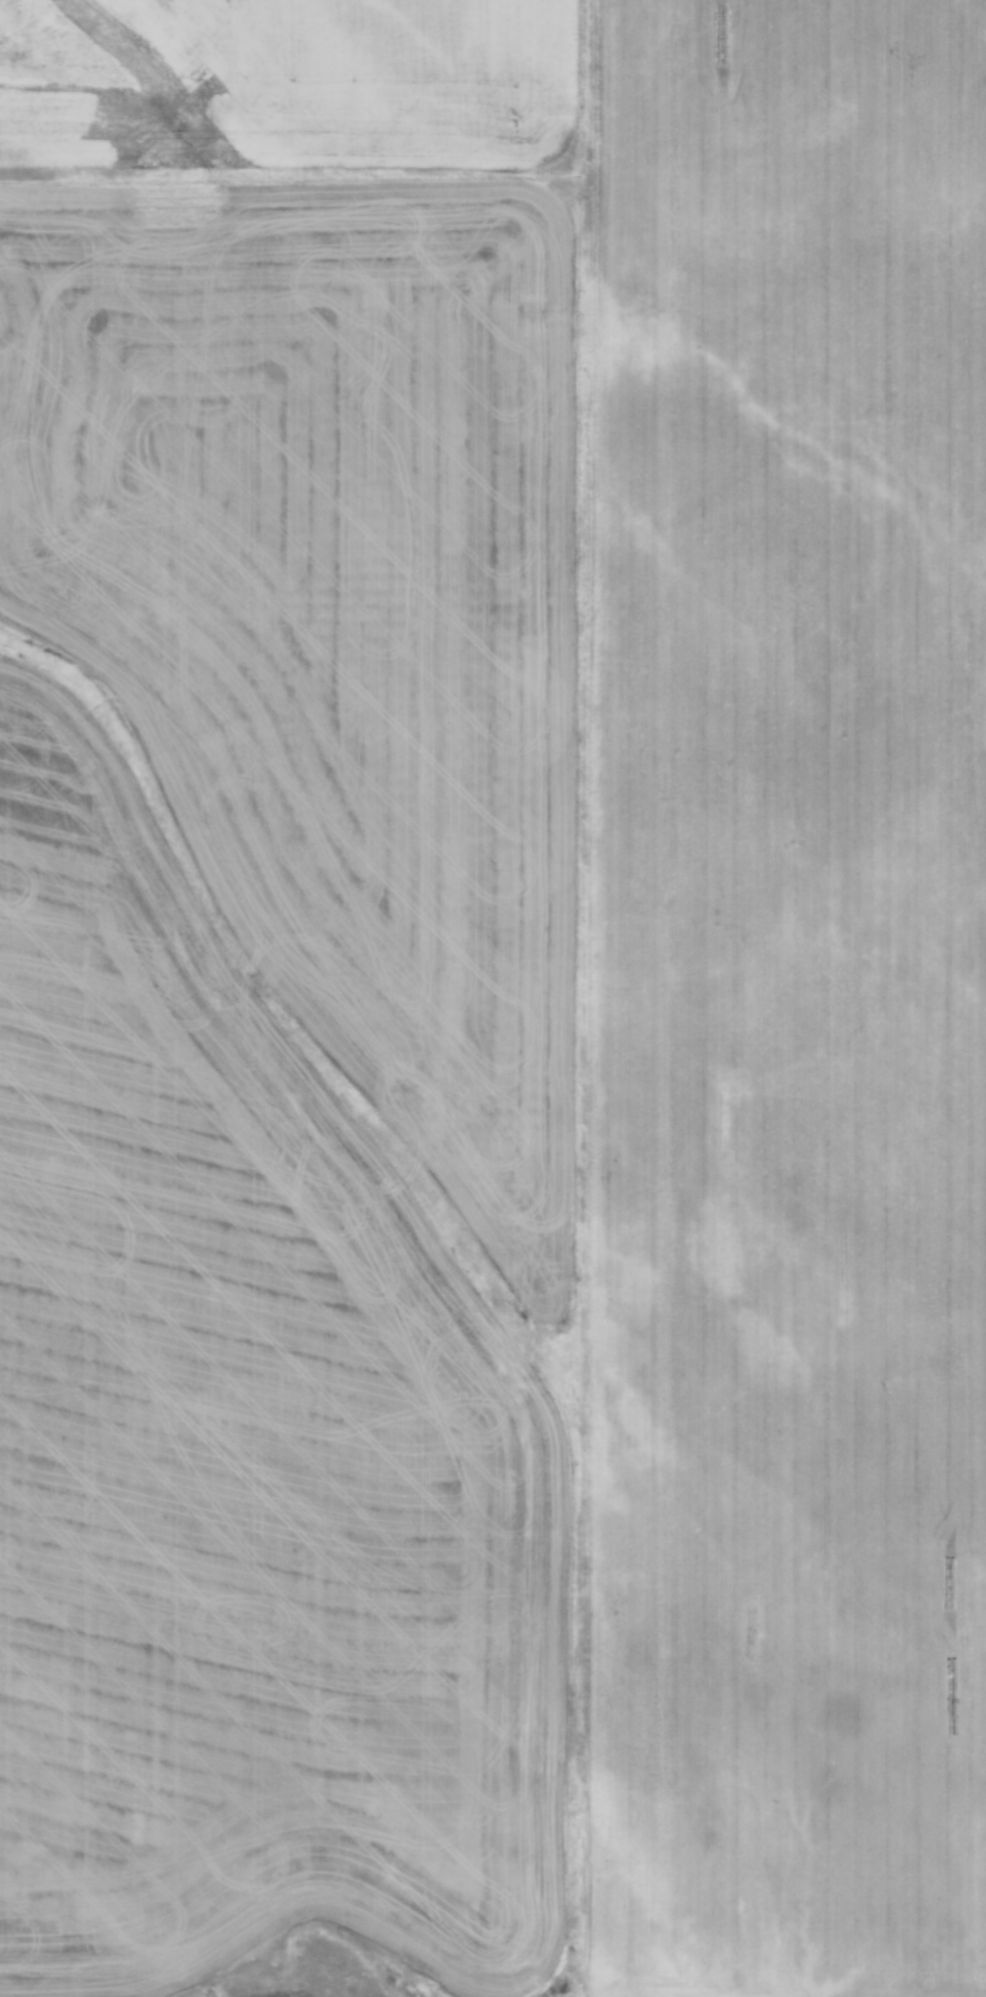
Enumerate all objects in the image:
road: (588, 998)

